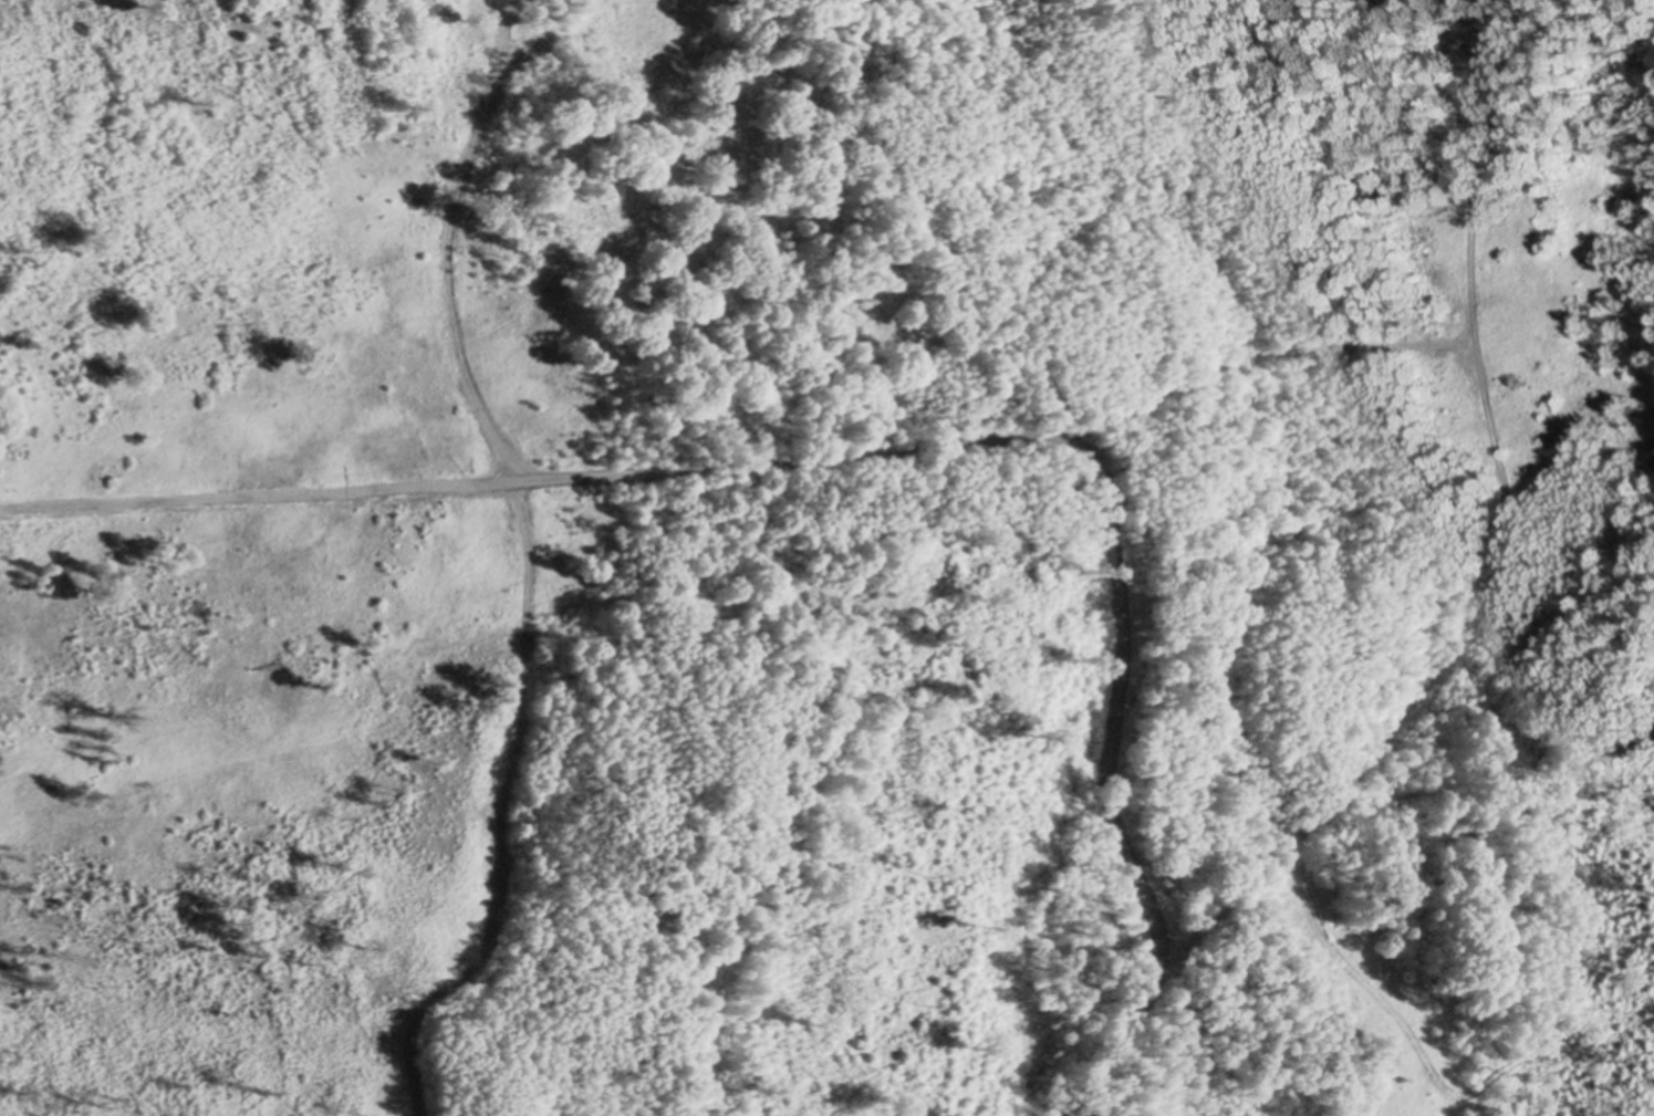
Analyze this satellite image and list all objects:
road: (532, 43)
road: (447, 248)
road: (1265, 354)
road: (535, 482)
road: (1489, 573)
road: (1110, 785)
road: (499, 815)

